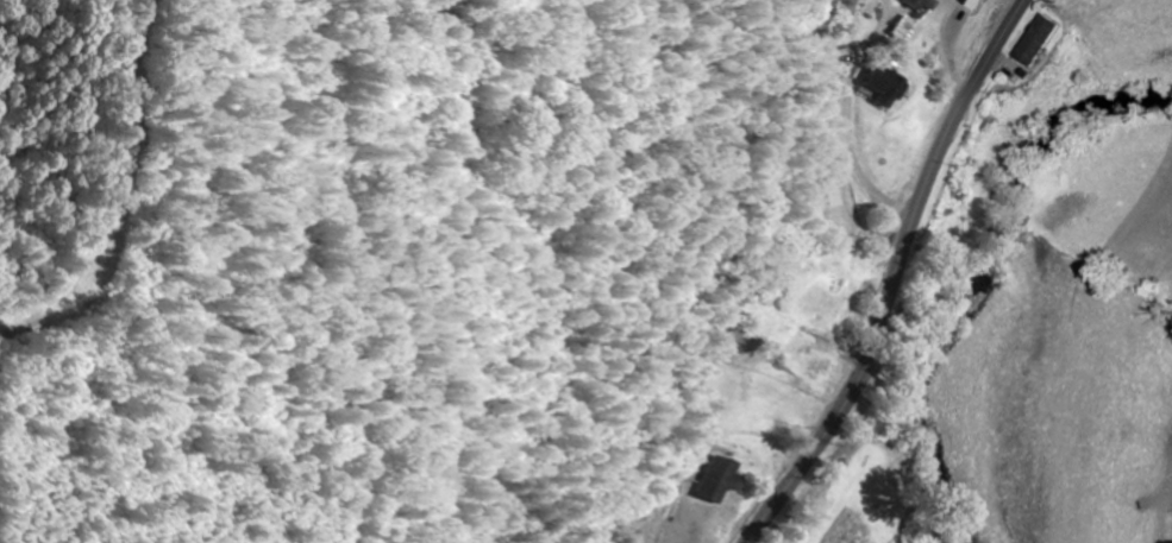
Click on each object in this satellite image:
building: (972, 4)
building: (903, 31)
building: (1036, 42)
road: (892, 274)

